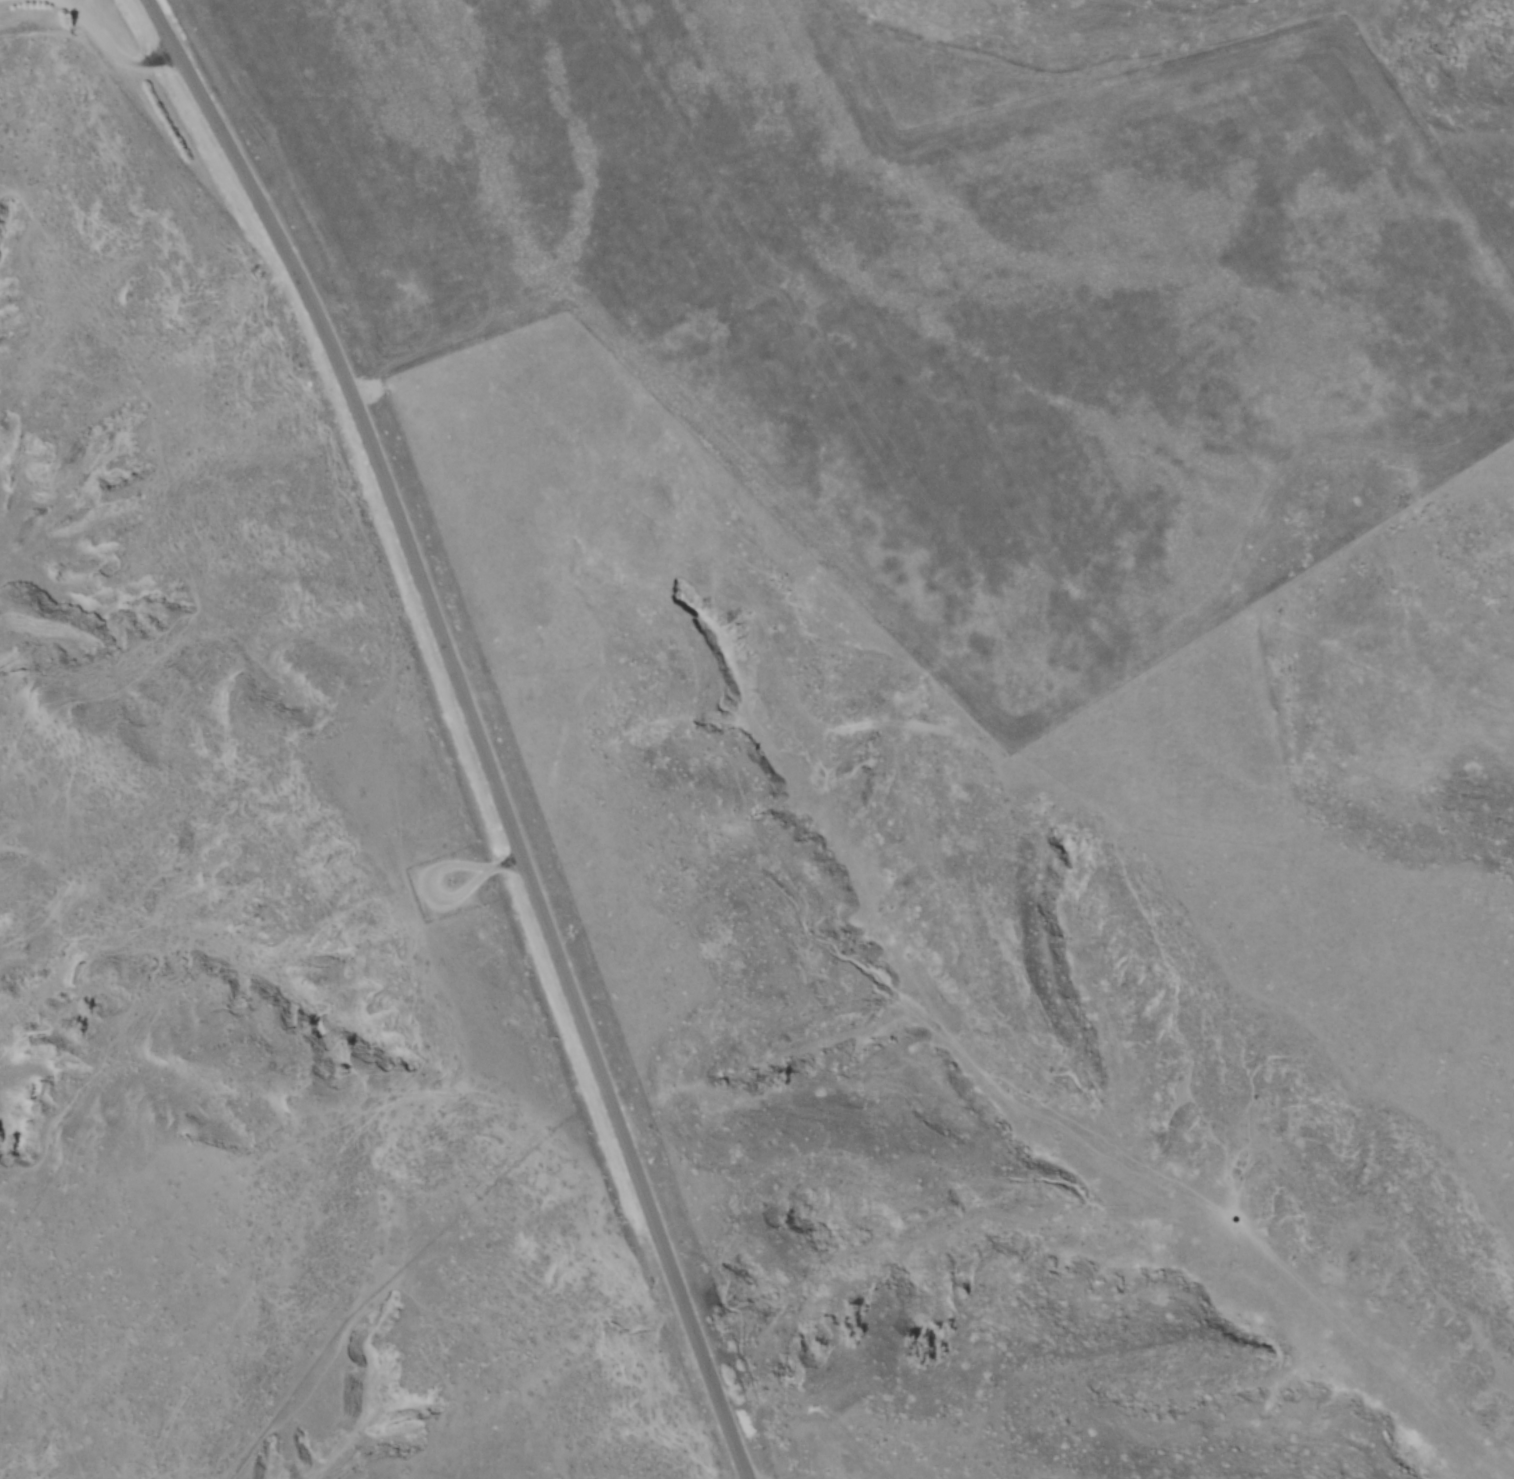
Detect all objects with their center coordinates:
road: (117, 52)
road: (477, 728)

